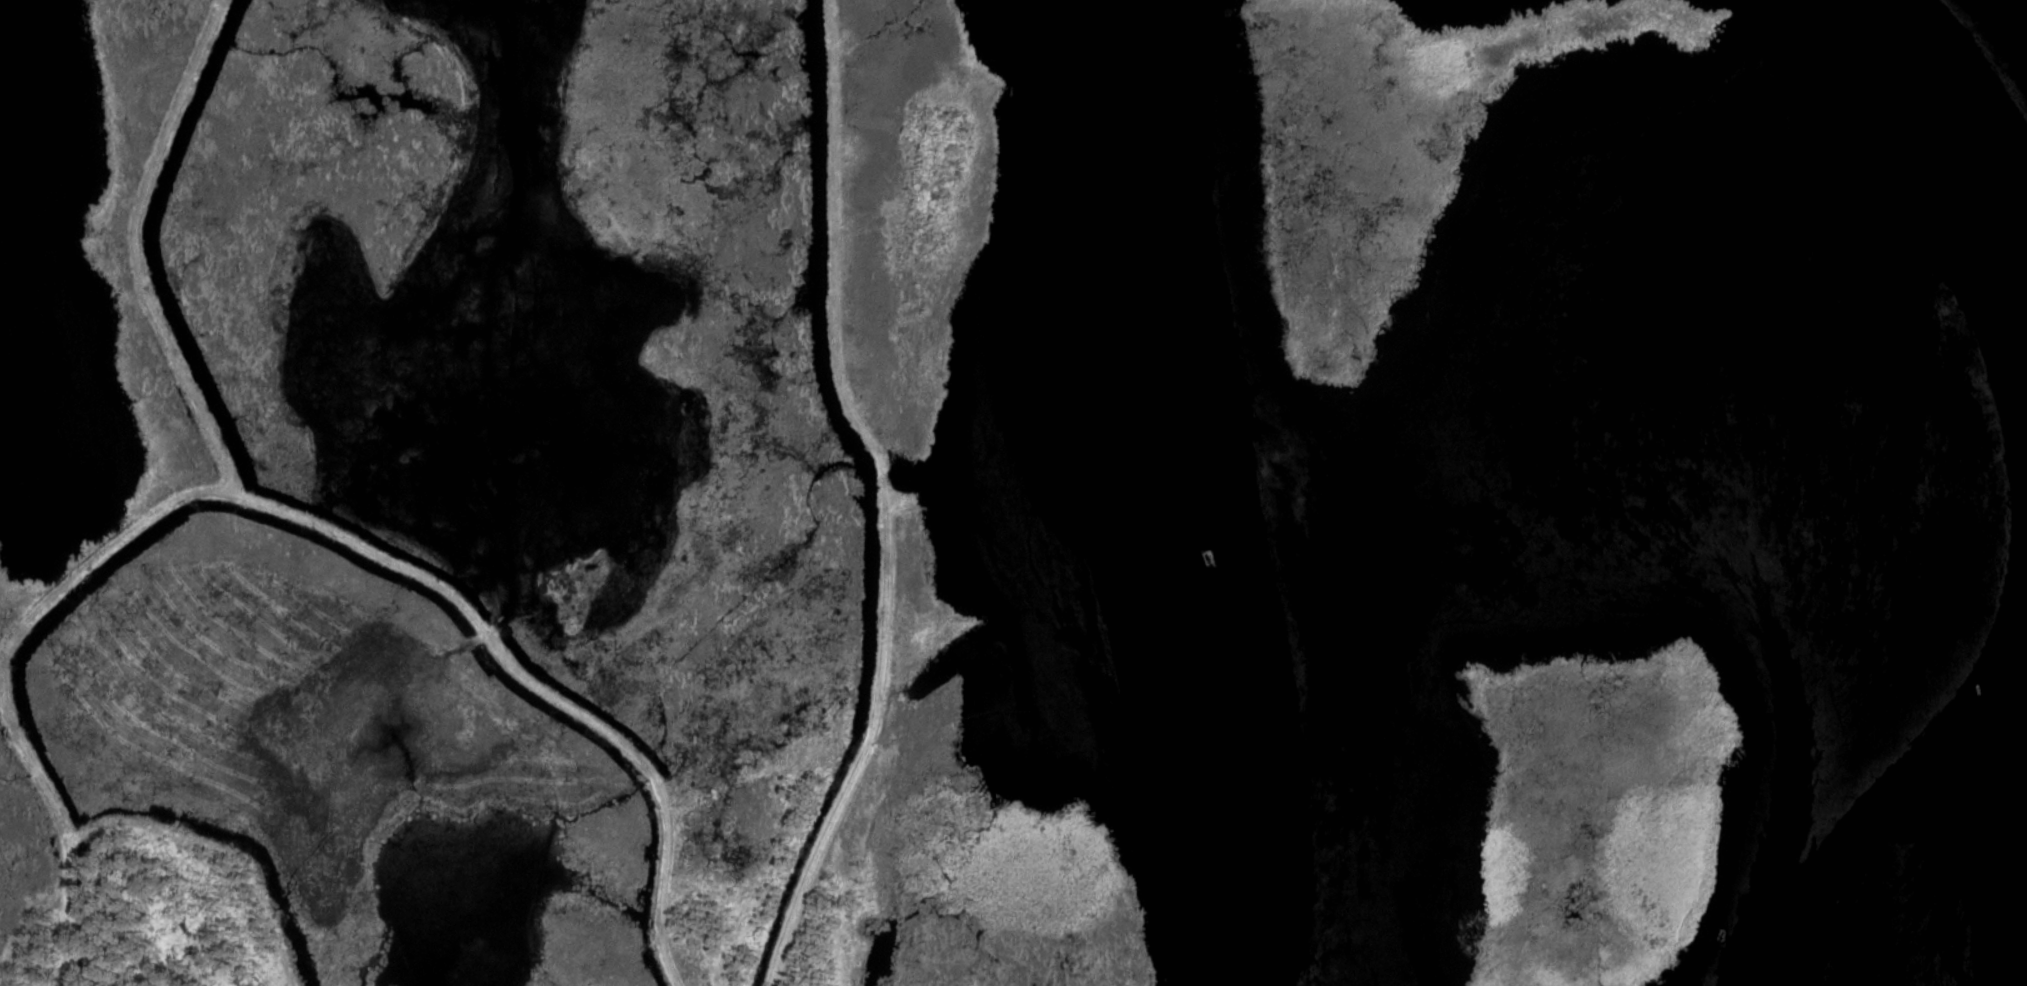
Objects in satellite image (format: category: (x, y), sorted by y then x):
road: (189, 387)
road: (885, 499)
road: (533, 686)
road: (64, 836)

